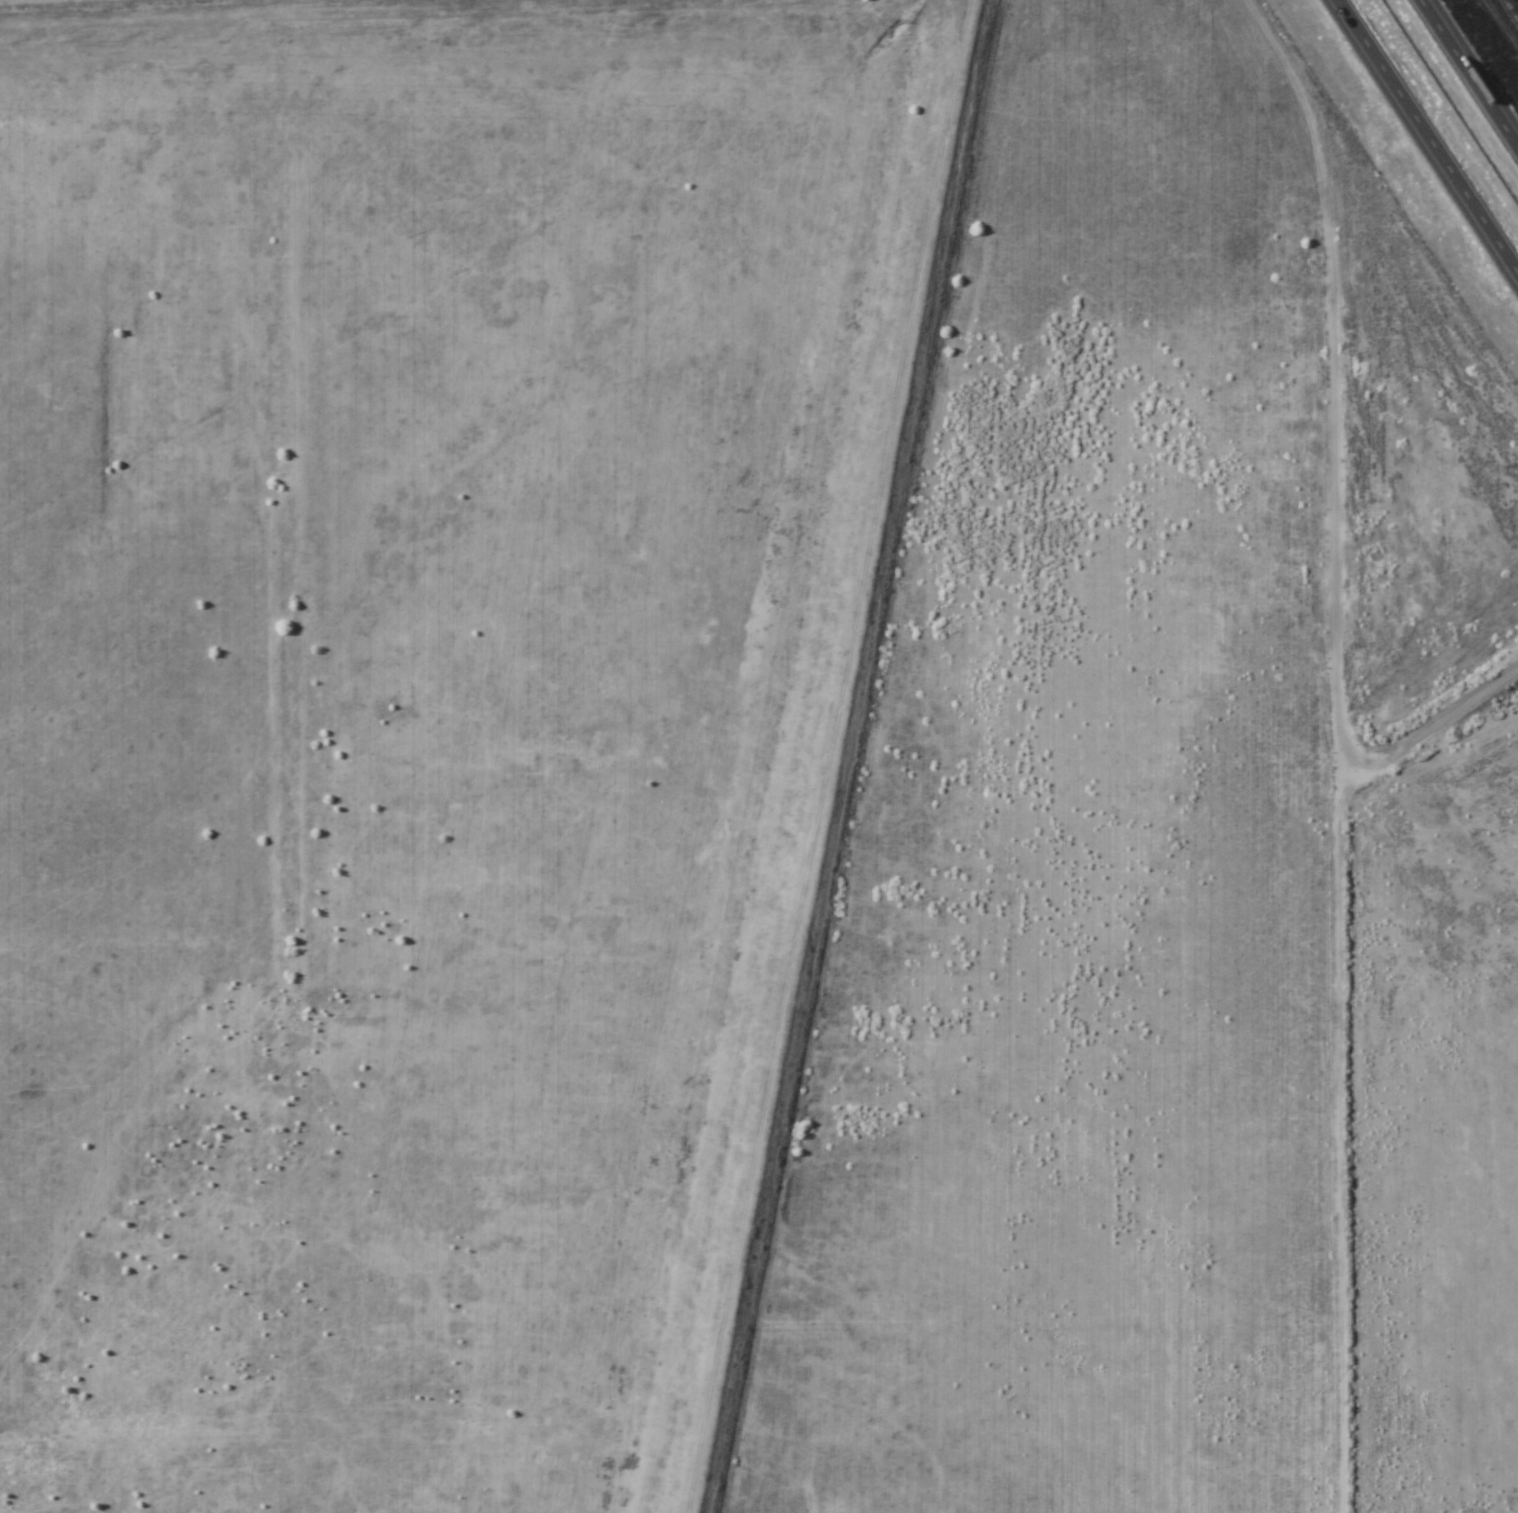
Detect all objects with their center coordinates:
road: (1473, 66)
road: (1429, 134)
road: (1417, 739)
road: (1316, 745)

